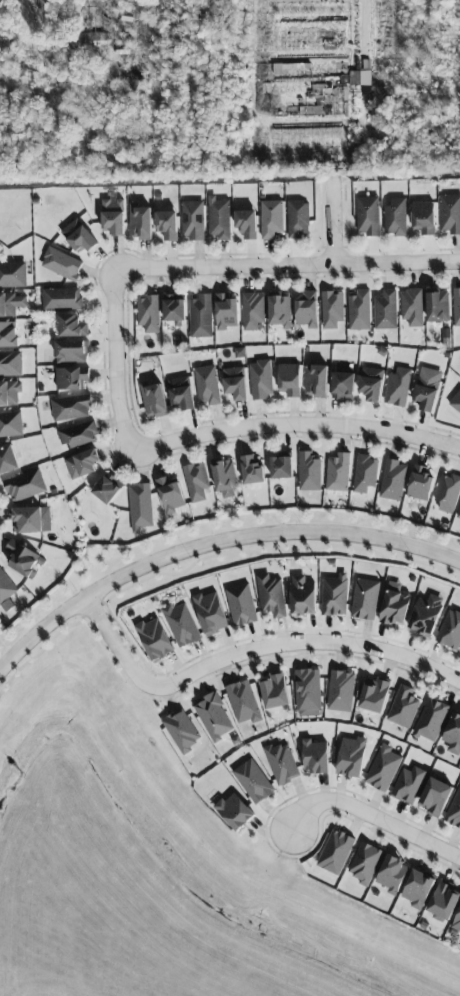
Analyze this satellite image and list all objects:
road: (247, 17)
building: (87, 41)
building: (360, 78)
building: (449, 214)
building: (367, 216)
building: (395, 217)
building: (423, 217)
building: (271, 219)
building: (298, 219)
building: (219, 220)
road: (334, 220)
building: (192, 221)
building: (140, 222)
building: (246, 224)
building: (167, 225)
building: (78, 237)
building: (61, 264)
road: (291, 264)
building: (13, 274)
building: (61, 298)
building: (11, 304)
building: (174, 307)
building: (437, 307)
building: (456, 307)
building: (412, 308)
building: (331, 309)
building: (307, 310)
building: (359, 310)
building: (385, 310)
building: (226, 311)
building: (252, 311)
building: (280, 311)
building: (148, 313)
building: (201, 316)
building: (72, 326)
building: (8, 334)
building: (71, 351)
road: (117, 359)
building: (11, 364)
building: (71, 378)
building: (260, 379)
building: (288, 380)
building: (316, 381)
building: (235, 383)
building: (371, 384)
building: (207, 385)
building: (342, 385)
building: (397, 387)
building: (427, 388)
building: (10, 393)
building: (181, 393)
building: (153, 400)
building: (455, 401)
building: (71, 407)
building: (10, 424)
road: (297, 425)
building: (78, 435)
building: (8, 459)
building: (82, 464)
building: (281, 466)
building: (252, 470)
building: (308, 472)
building: (337, 473)
building: (365, 473)
building: (225, 479)
building: (393, 480)
building: (196, 481)
building: (420, 483)
building: (25, 485)
building: (107, 488)
building: (447, 493)
building: (170, 494)
building: (140, 506)
building: (459, 516)
building: (28, 520)
road: (212, 542)
building: (23, 559)
building: (5, 587)
building: (334, 595)
building: (271, 596)
building: (302, 596)
building: (365, 599)
building: (241, 605)
building: (395, 605)
building: (210, 612)
building: (426, 615)
building: (181, 625)
building: (450, 630)
building: (155, 639)
road: (251, 650)
building: (341, 691)
building: (274, 692)
building: (308, 693)
building: (374, 696)
building: (244, 703)
building: (404, 707)
building: (214, 717)
building: (431, 721)
building: (181, 731)
building: (453, 734)
building: (315, 757)
building: (351, 757)
building: (282, 763)
building: (383, 769)
building: (253, 782)
building: (409, 785)
building: (435, 797)
building: (234, 812)
building: (454, 812)
road: (376, 815)
building: (336, 852)
building: (365, 864)
building: (392, 875)
building: (418, 889)
building: (444, 902)
building: (456, 924)

